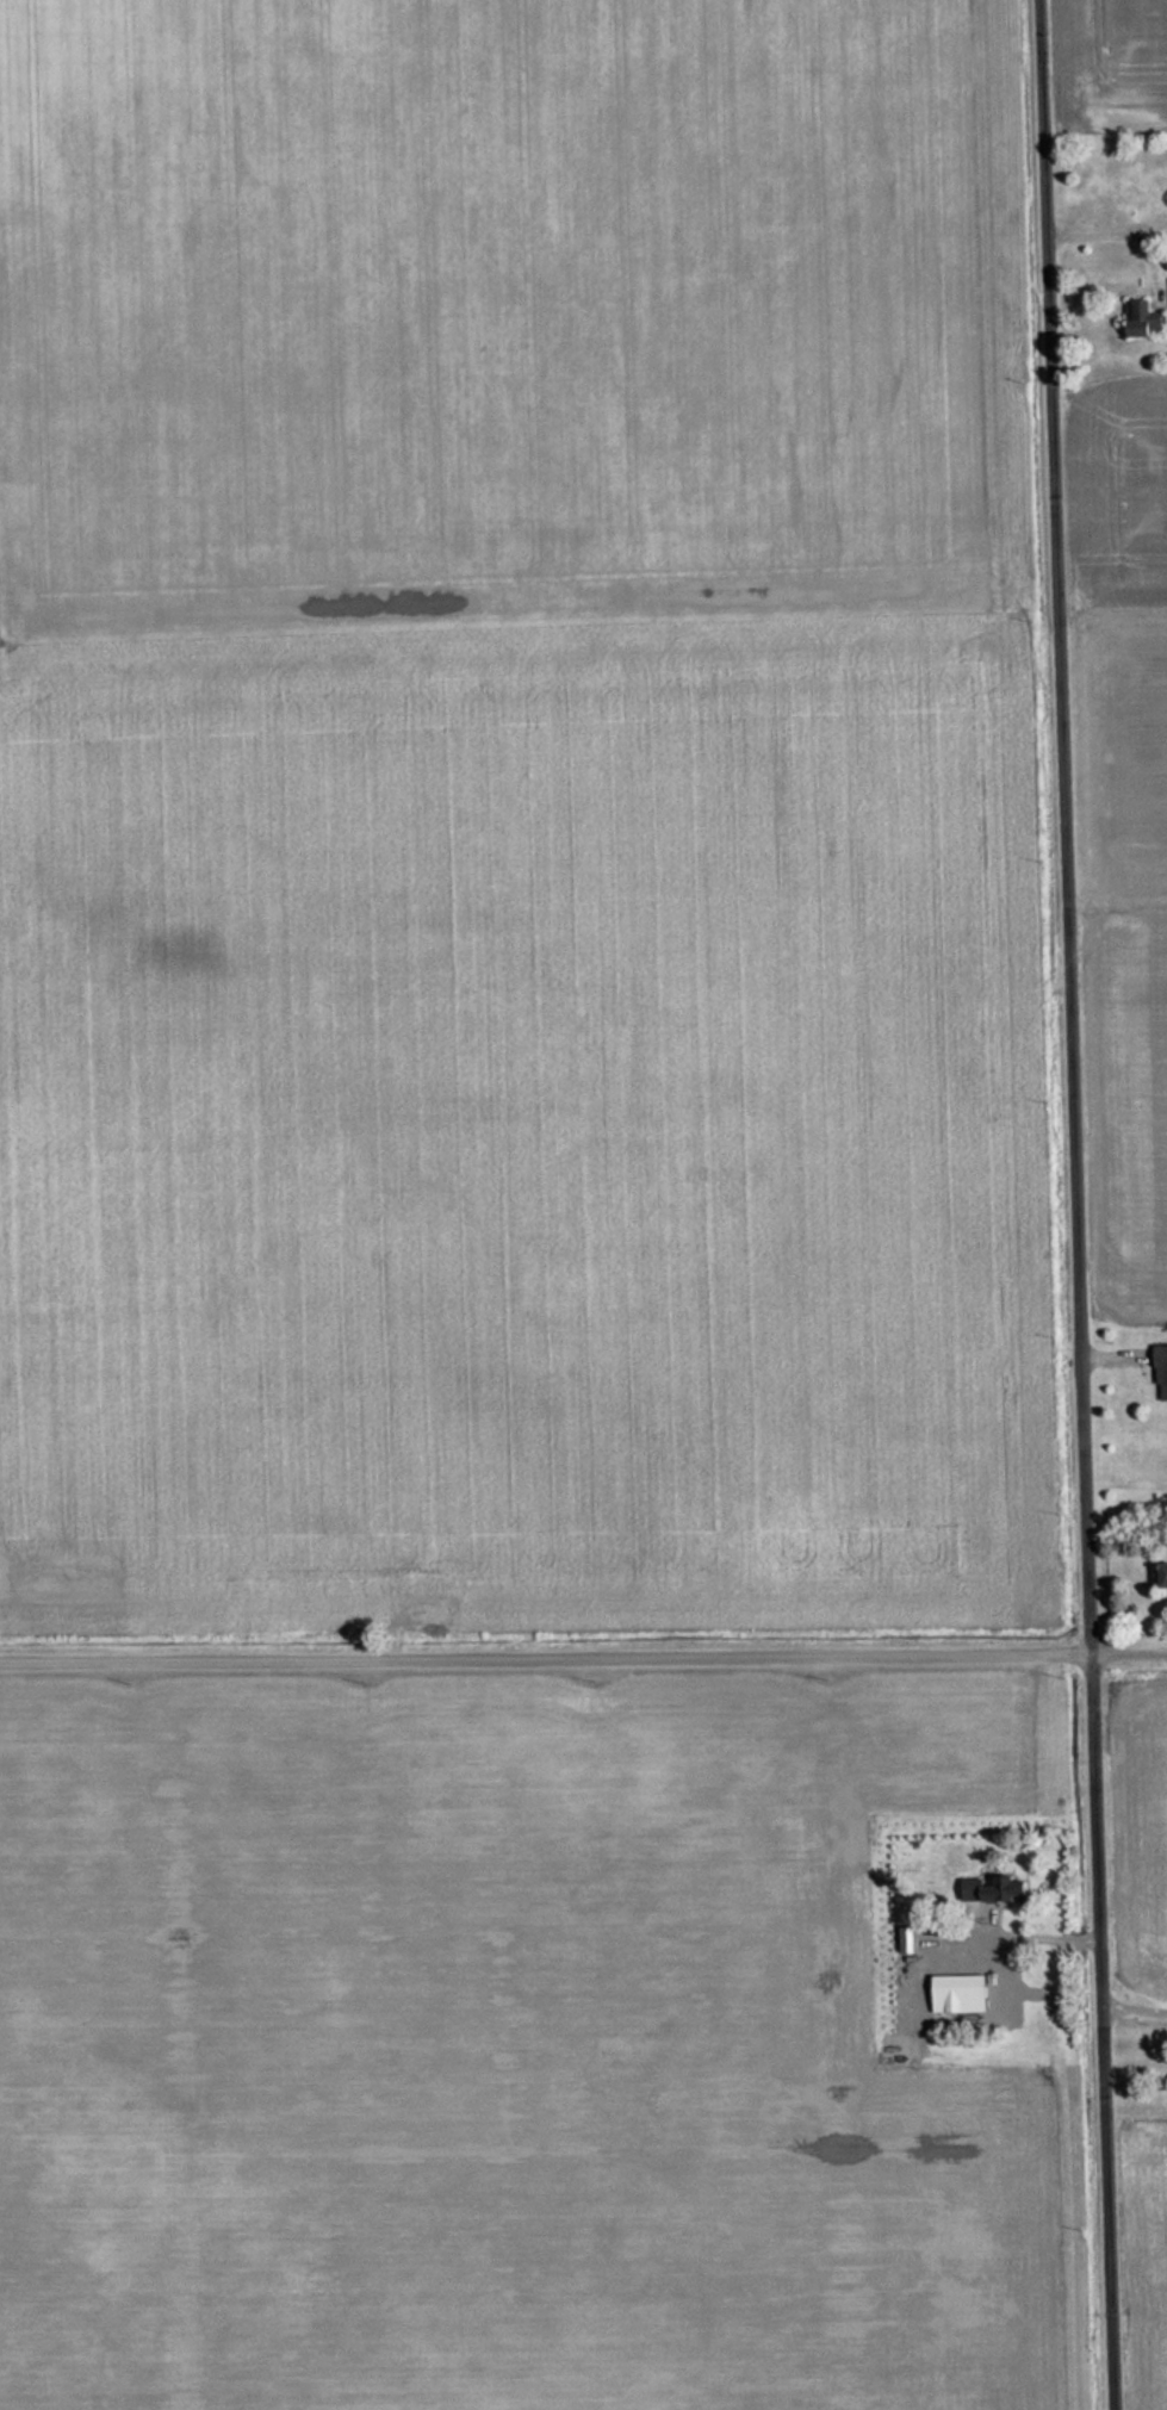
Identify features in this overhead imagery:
crop: (1116, 61)
crop: (505, 822)
crop: (1125, 828)
road: (1075, 1206)
road: (1117, 1653)
road: (533, 1656)
crop: (1154, 1843)
building: (993, 1890)
building: (907, 1940)
building: (962, 1994)
crop: (492, 2051)
crop: (1157, 2241)

